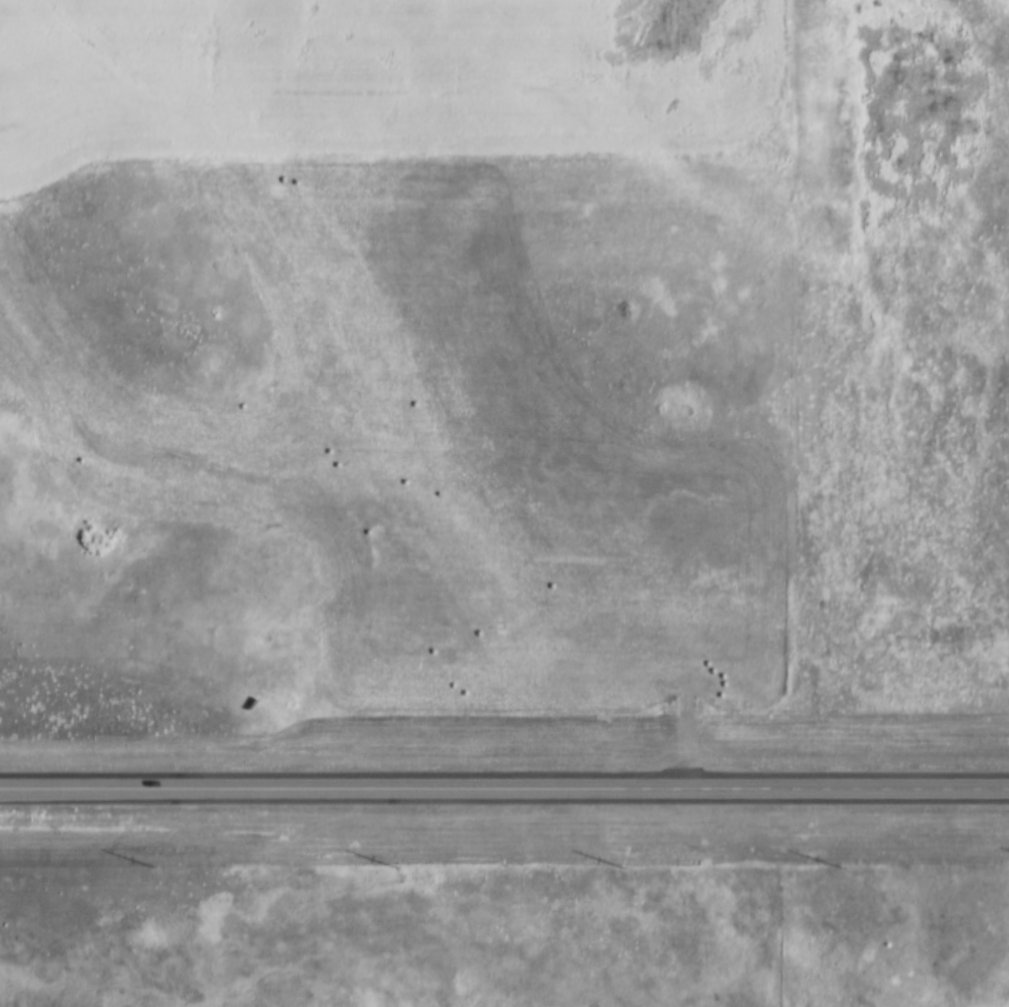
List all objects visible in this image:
road: (504, 785)

